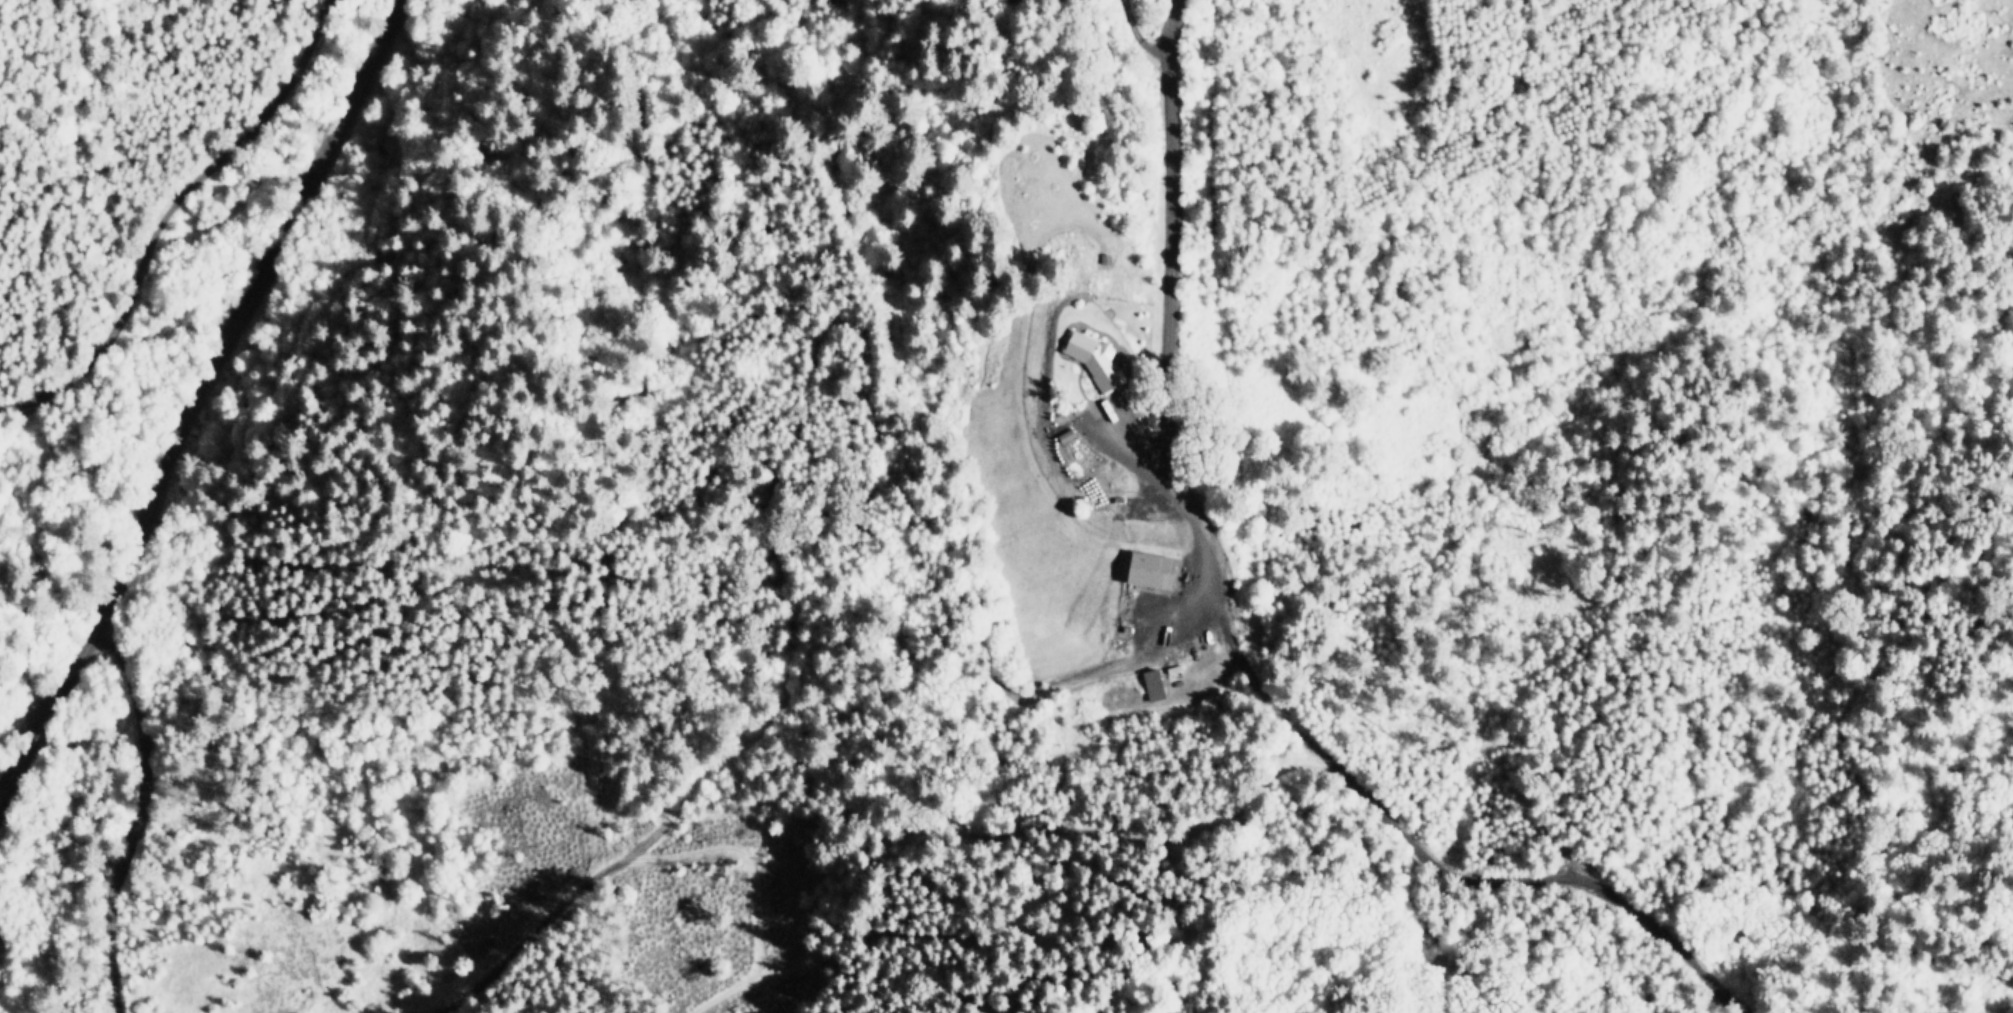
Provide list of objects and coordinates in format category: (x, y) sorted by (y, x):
building: (1096, 361)
road: (189, 388)
road: (1167, 409)
building: (1153, 571)
building: (1152, 686)
road: (128, 812)

